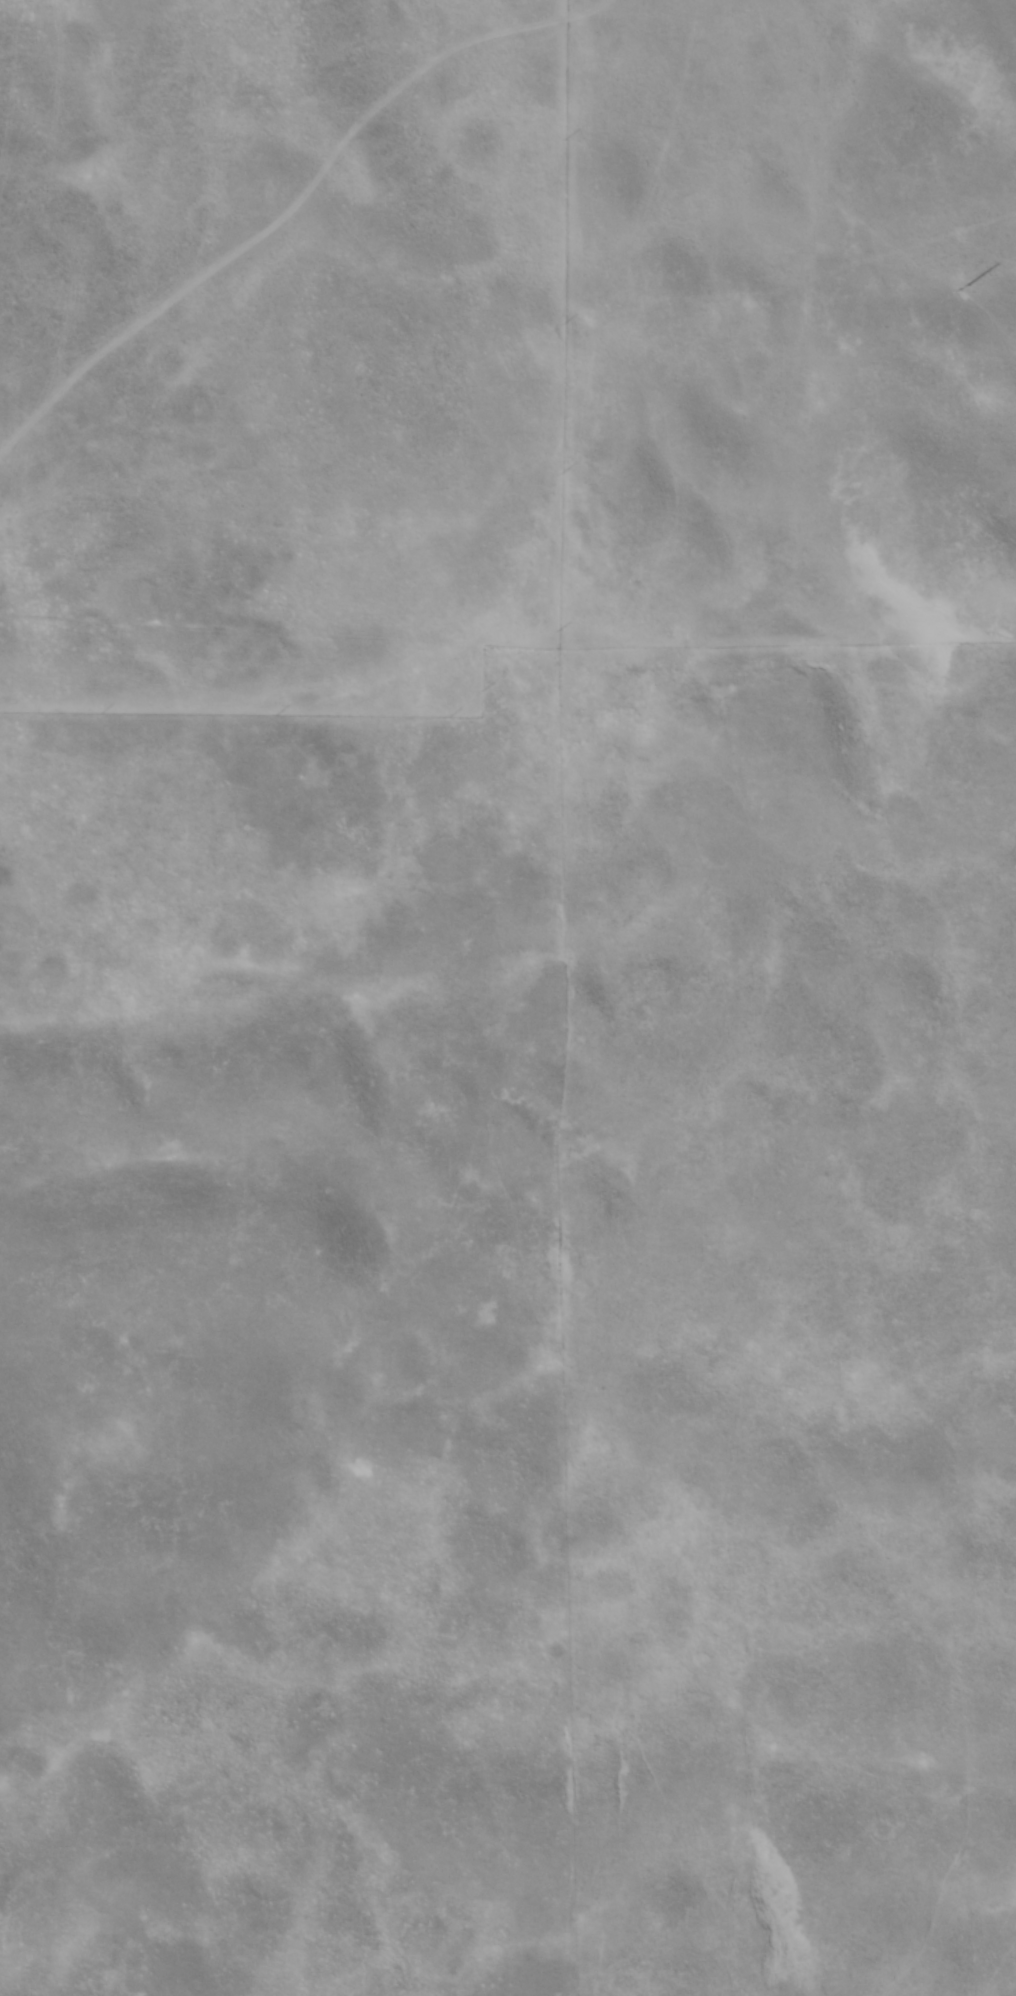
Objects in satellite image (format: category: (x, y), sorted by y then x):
power tower: (968, 285)

